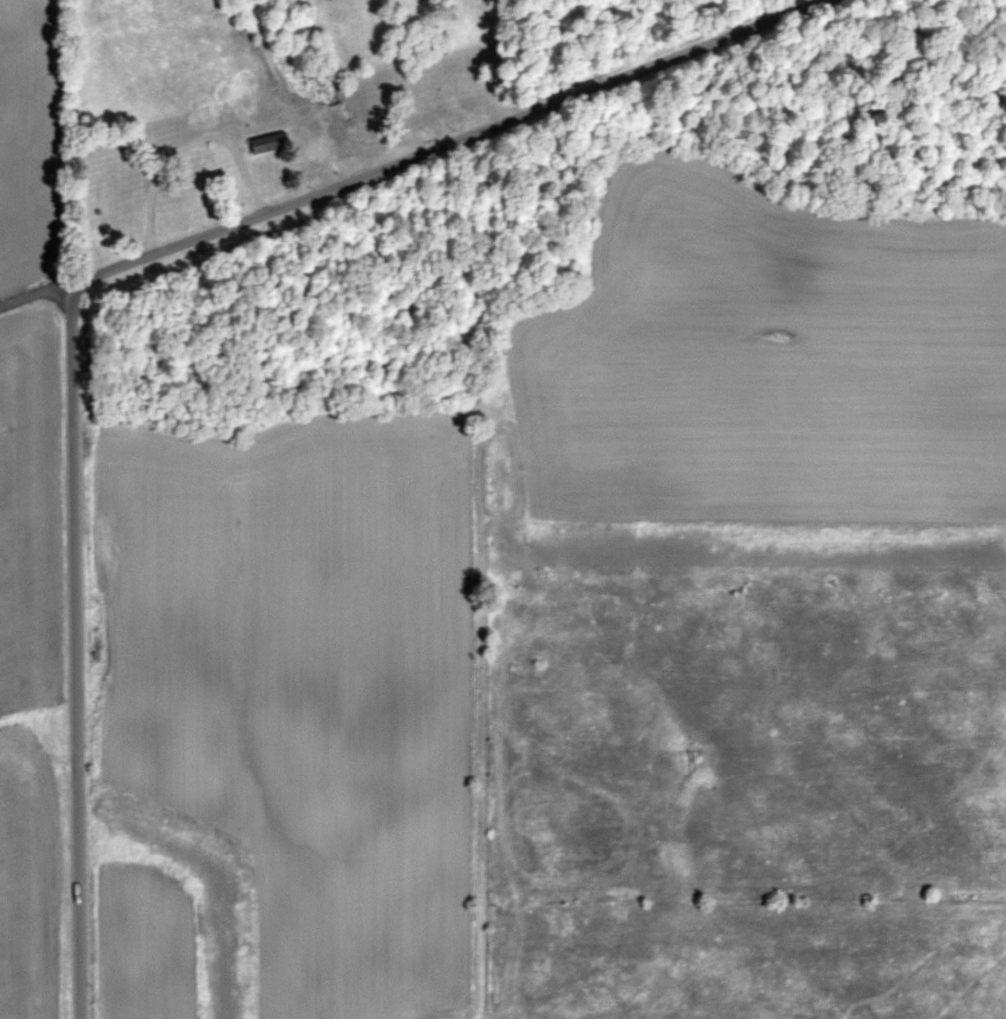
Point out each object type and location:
building: (237, 106)
road: (450, 150)
road: (169, 159)
building: (117, 207)
road: (26, 309)
road: (74, 659)

